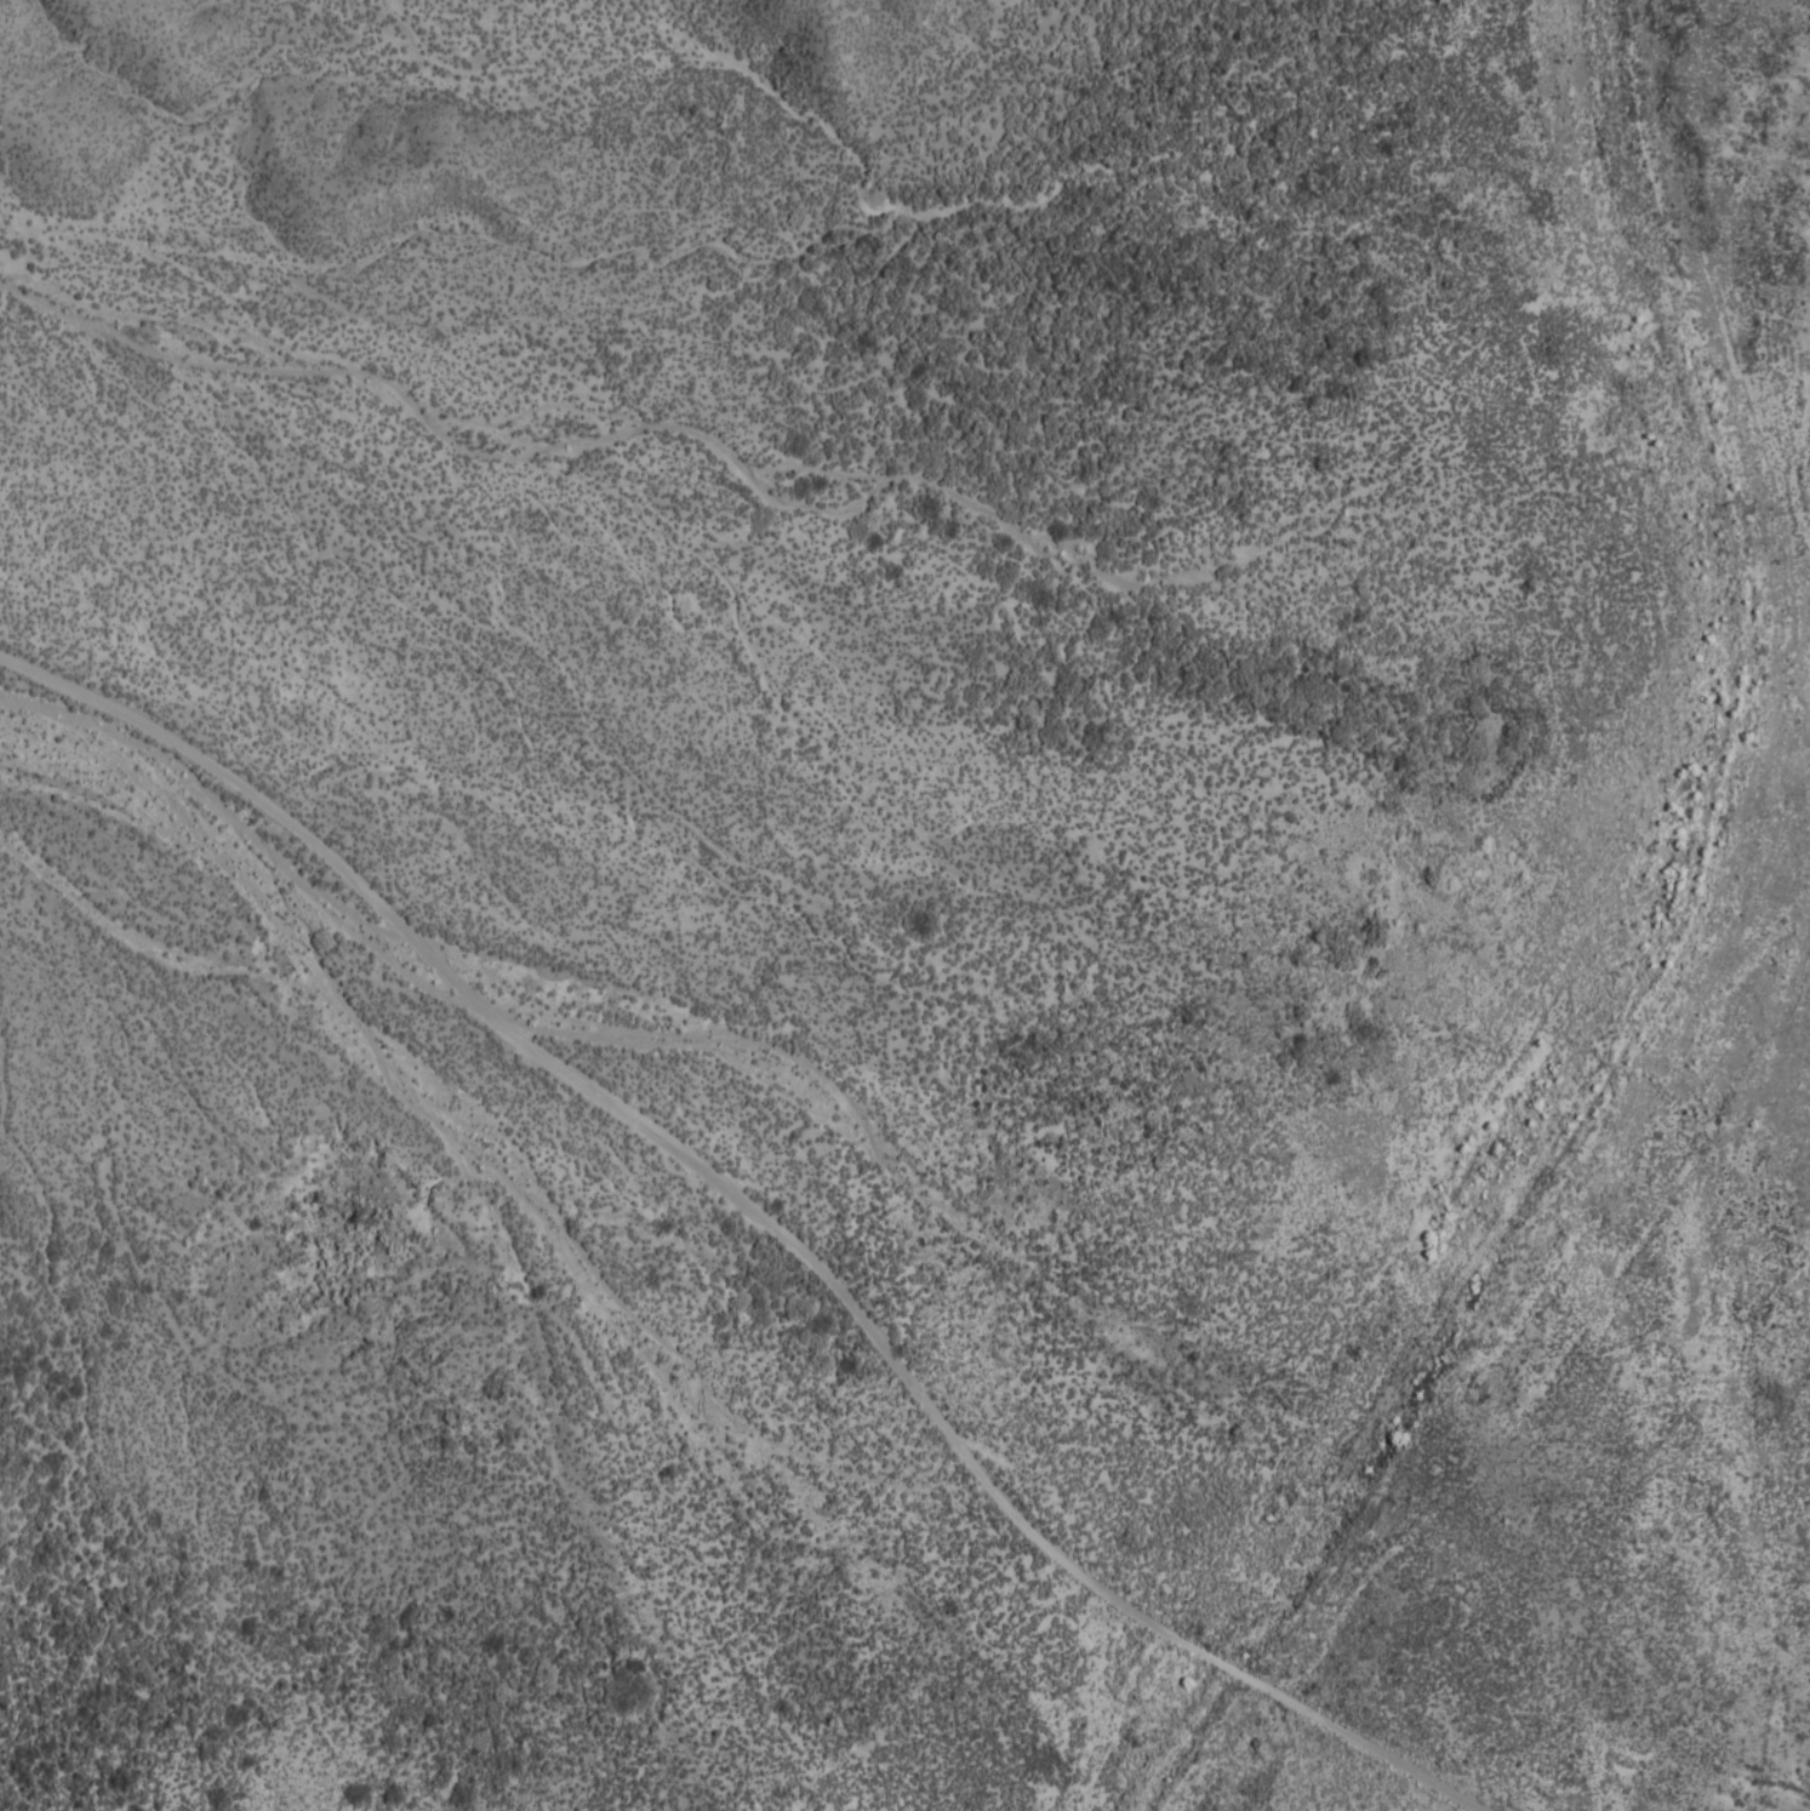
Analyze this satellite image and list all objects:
road: (754, 1217)

